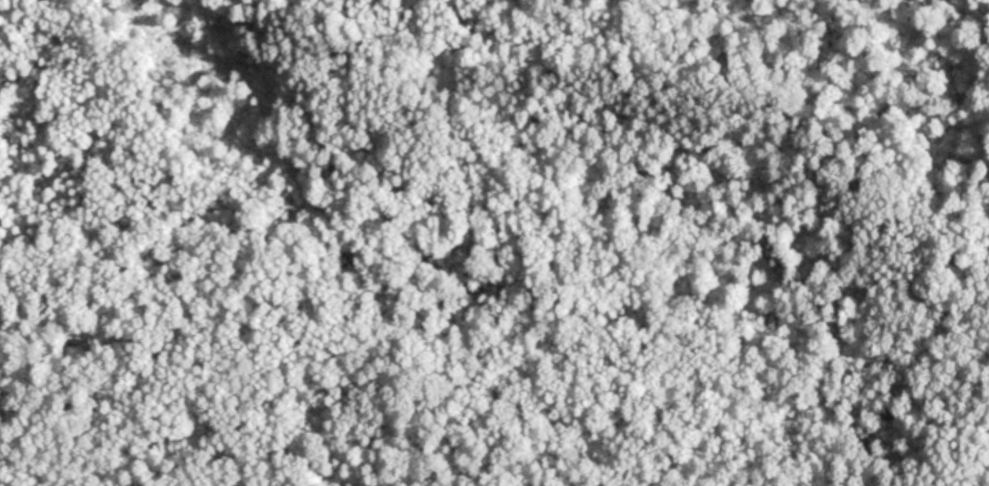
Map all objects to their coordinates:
park: (494, 243)

